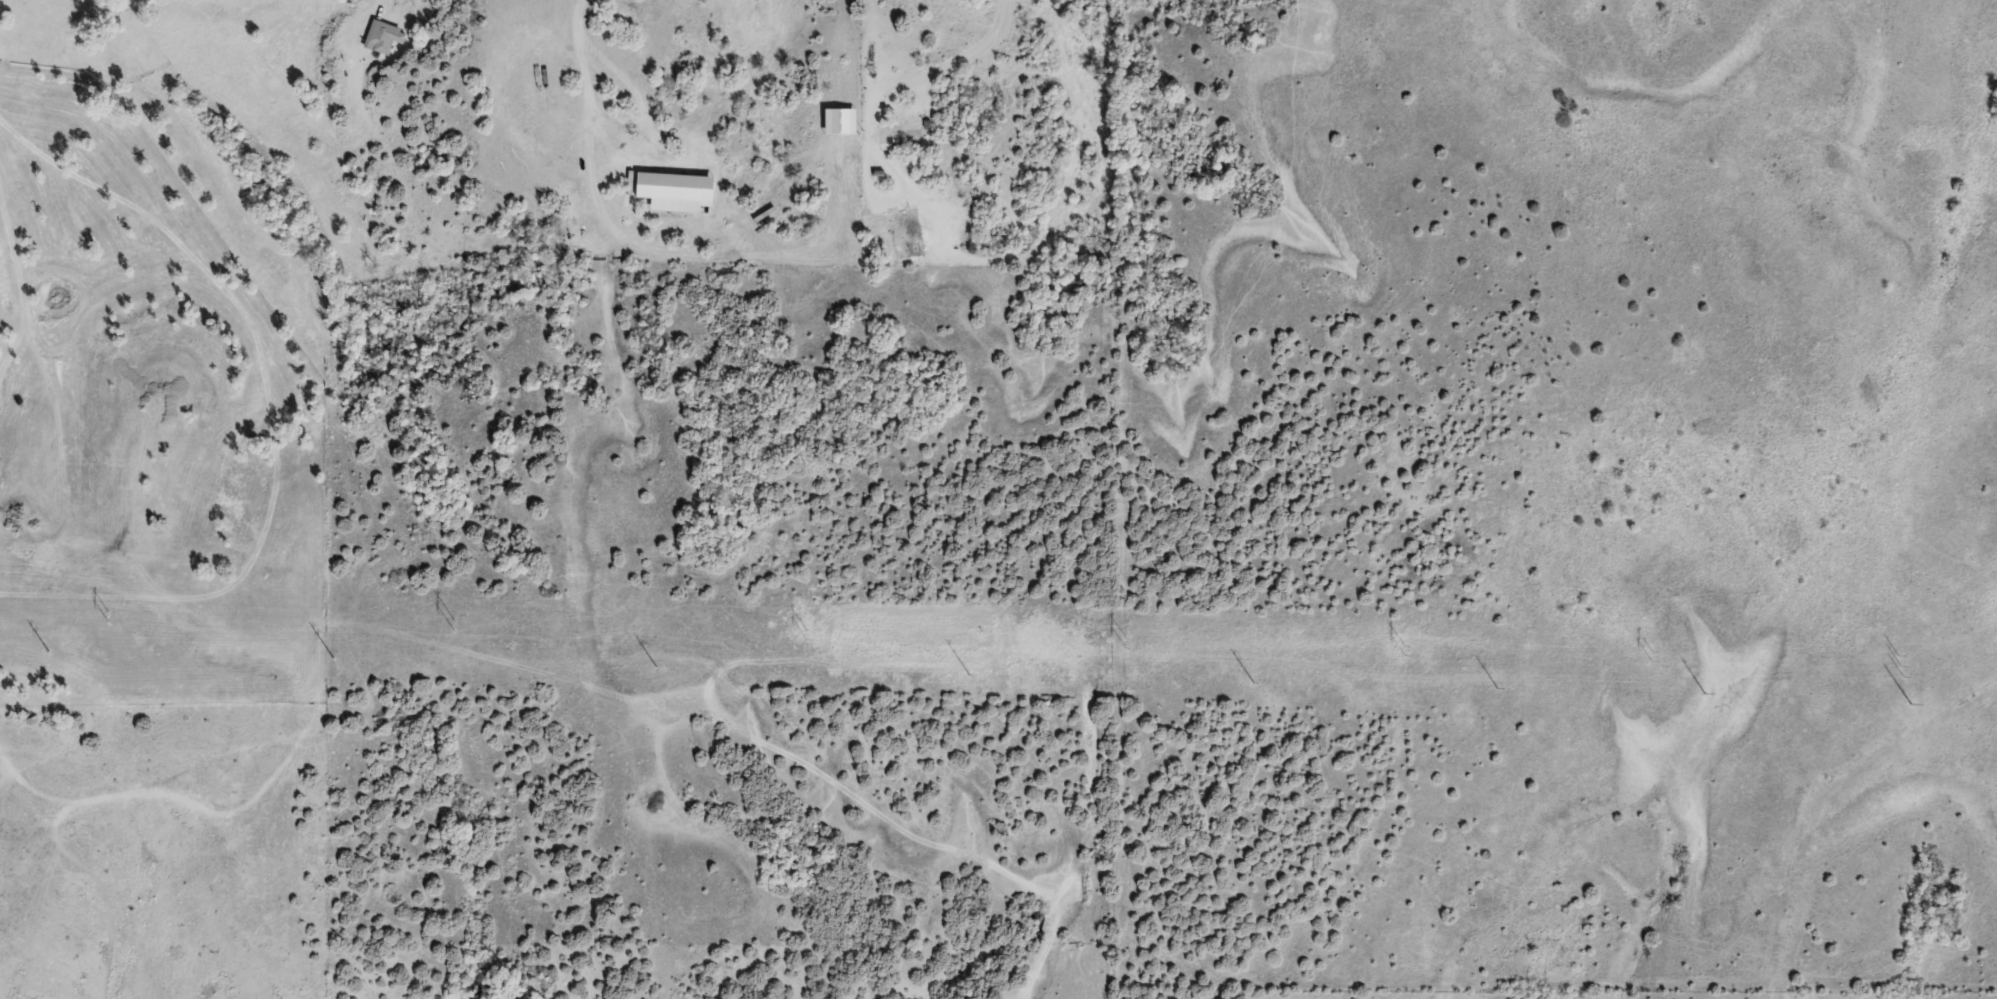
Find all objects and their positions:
building: (384, 38)
road: (965, 56)
road: (588, 136)
building: (902, 138)

